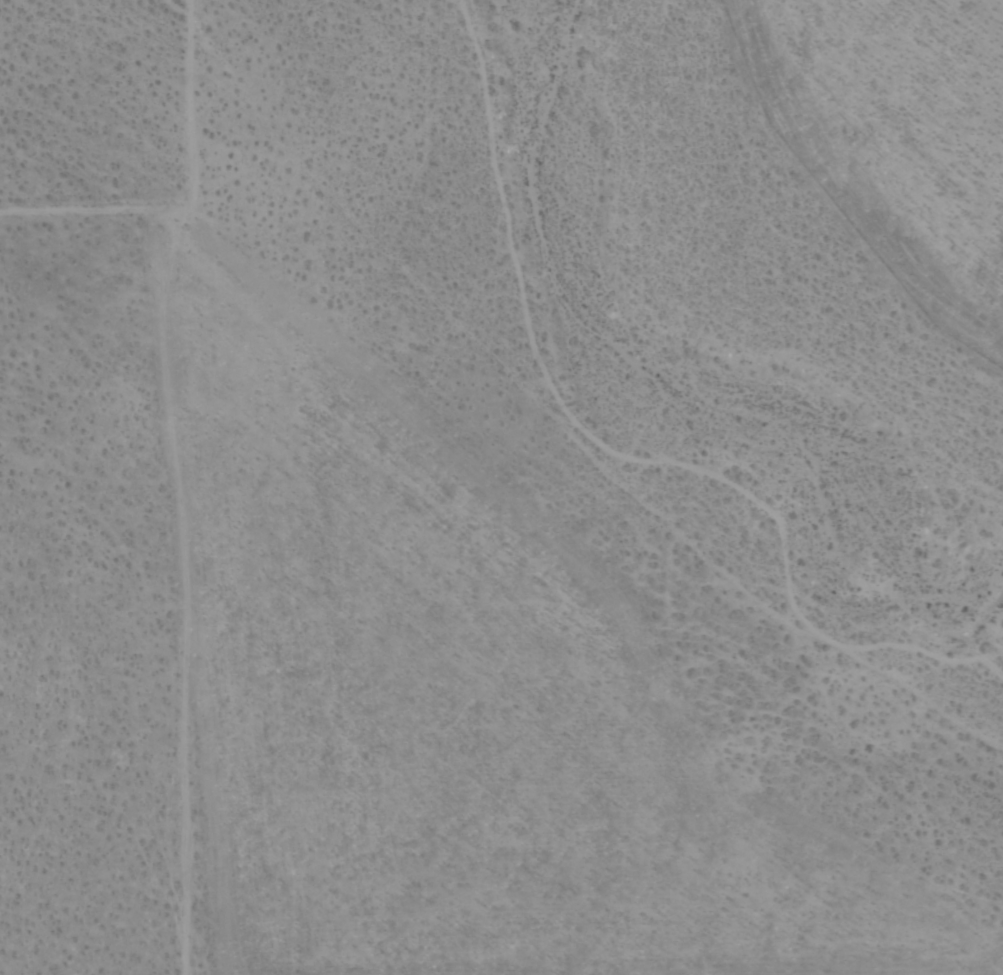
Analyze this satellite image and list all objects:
road: (95, 212)
road: (181, 487)

